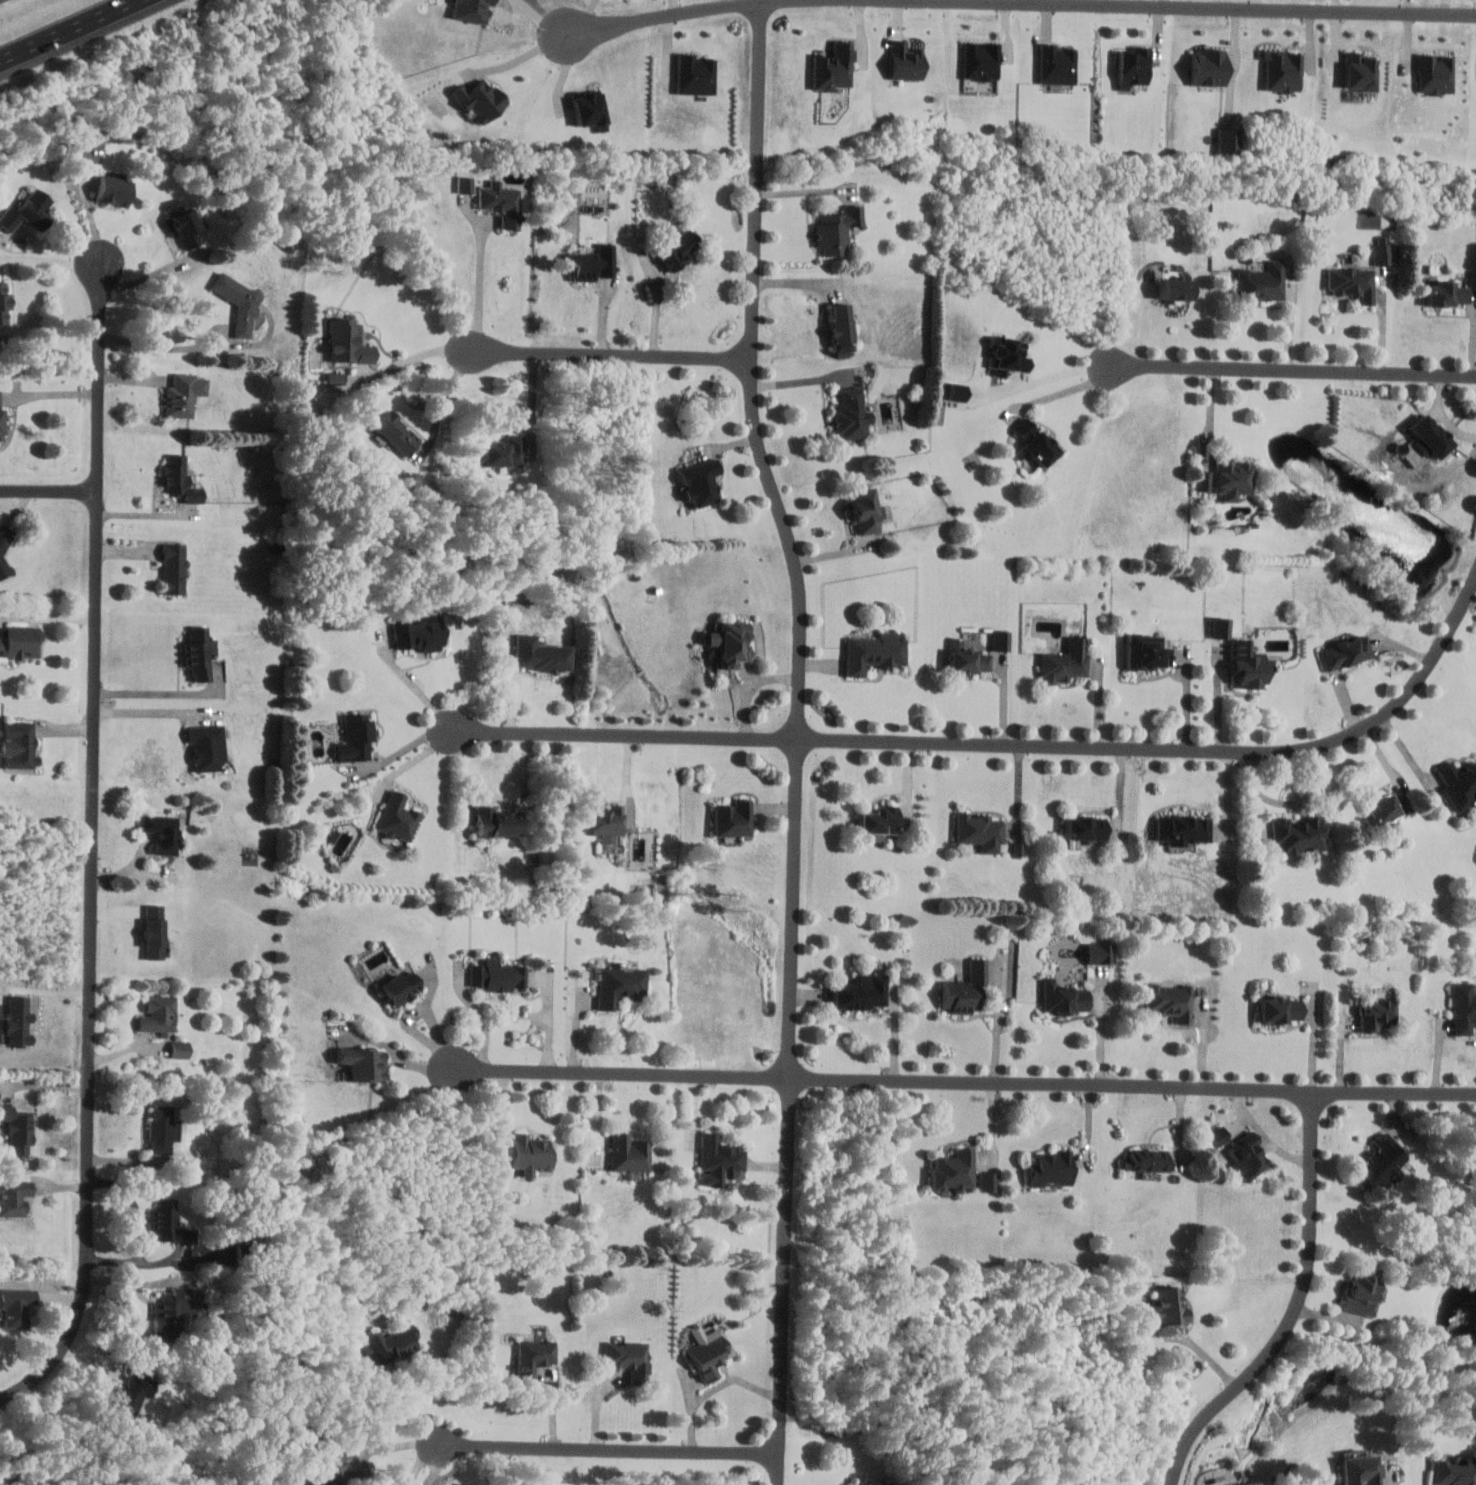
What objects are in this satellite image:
road: (1189, 5)
building: (471, 10)
road: (697, 14)
road: (66, 29)
road: (525, 55)
building: (905, 61)
building: (981, 61)
building: (1057, 65)
building: (1133, 67)
building: (833, 68)
building: (1210, 68)
building: (1283, 70)
building: (1360, 71)
building: (1435, 74)
building: (695, 75)
building: (480, 100)
building: (590, 110)
building: (1228, 139)
building: (465, 183)
building: (113, 191)
building: (501, 201)
road: (90, 206)
building: (25, 213)
building: (182, 224)
building: (837, 228)
building: (677, 247)
building: (1381, 248)
road: (51, 261)
building: (592, 262)
road: (146, 275)
building: (1262, 281)
building: (1352, 281)
road: (478, 286)
building: (1176, 287)
building: (1446, 292)
building: (238, 302)
building: (2, 304)
building: (841, 321)
building: (347, 340)
road: (160, 347)
road: (48, 352)
road: (612, 354)
building: (1005, 354)
road: (418, 355)
road: (1295, 366)
road: (1050, 377)
road: (800, 380)
road: (1068, 390)
building: (958, 391)
road: (50, 393)
building: (182, 395)
road: (533, 395)
road: (1212, 410)
building: (852, 412)
road: (1444, 413)
building: (1, 423)
building: (395, 431)
building: (1430, 434)
building: (1035, 441)
building: (504, 451)
building: (173, 474)
building: (1234, 476)
building: (1204, 479)
building: (701, 481)
road: (48, 491)
building: (866, 509)
building: (4, 549)
building: (174, 569)
building: (1221, 626)
building: (418, 632)
building: (16, 639)
building: (1001, 639)
building: (730, 641)
building: (1147, 650)
building: (875, 651)
building: (1345, 651)
building: (195, 653)
building: (539, 653)
building: (967, 657)
building: (1065, 661)
building: (1248, 663)
road: (156, 683)
road: (414, 684)
road: (749, 686)
road: (1004, 695)
road: (1189, 697)
road: (1100, 698)
road: (1218, 703)
road: (148, 712)
building: (356, 736)
road: (798, 741)
road: (1006, 743)
building: (203, 745)
building: (16, 746)
road: (404, 748)
road: (1410, 753)
road: (413, 760)
road: (908, 769)
road: (463, 774)
building: (1460, 783)
road: (628, 786)
building: (1383, 807)
building: (397, 816)
building: (733, 817)
building: (879, 819)
building: (495, 821)
building: (604, 822)
building: (1085, 829)
building: (1183, 829)
building: (980, 830)
building: (161, 833)
building: (1300, 834)
road: (94, 849)
building: (153, 931)
building: (1099, 952)
building: (496, 975)
building: (617, 985)
building: (401, 986)
building: (965, 988)
road: (46, 991)
building: (862, 991)
building: (1063, 997)
building: (1170, 1001)
building: (1463, 1007)
building: (1280, 1009)
building: (1377, 1012)
road: (482, 1016)
building: (158, 1018)
road: (550, 1019)
building: (17, 1020)
road: (999, 1021)
road: (415, 1028)
road: (1103, 1028)
road: (897, 1032)
road: (1205, 1035)
road: (1315, 1042)
building: (180, 1048)
road: (399, 1054)
building: (364, 1064)
road: (963, 1082)
building: (161, 1130)
building: (17, 1132)
building: (1217, 1135)
building: (628, 1153)
building: (530, 1154)
building: (1247, 1155)
building: (718, 1159)
building: (1147, 1159)
building: (1381, 1160)
building: (1051, 1168)
building: (953, 1170)
building: (988, 1181)
building: (14, 1197)
building: (165, 1220)
road: (142, 1230)
building: (1364, 1290)
building: (1168, 1305)
building: (14, 1307)
road: (1297, 1309)
building: (170, 1312)
building: (379, 1349)
building: (708, 1350)
building: (534, 1357)
building: (627, 1358)
road: (714, 1388)
building: (131, 1394)
road: (408, 1395)
road: (610, 1451)
road: (420, 1461)
road: (503, 1467)
road: (436, 1468)
building: (1361, 1470)
building: (1455, 1472)
building: (1247, 1483)
building: (867, 1484)

